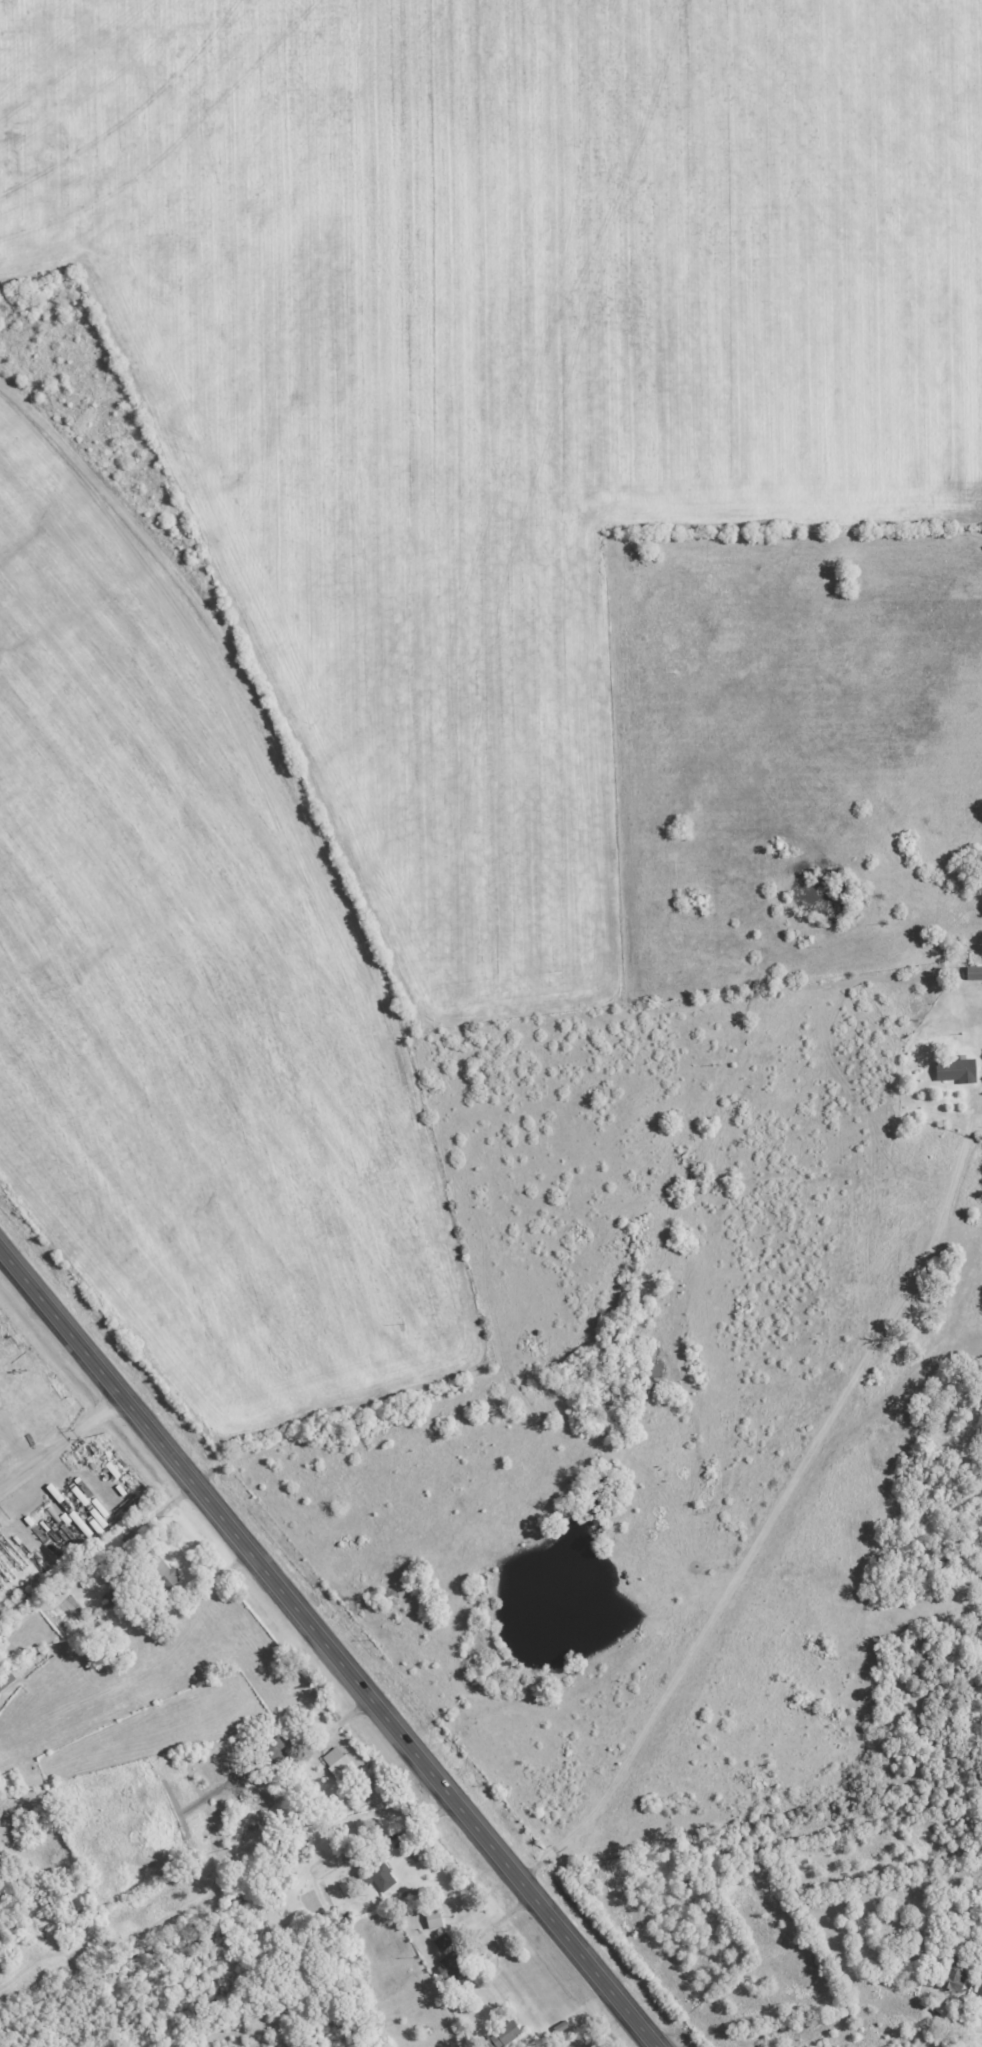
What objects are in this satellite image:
building: (975, 972)
building: (958, 1070)
road: (61, 1442)
building: (82, 1491)
building: (161, 1570)
road: (328, 1647)
building: (272, 1755)
building: (339, 1763)
building: (382, 1878)
building: (435, 1919)
building: (444, 1942)
building: (454, 1969)
building: (506, 2035)

